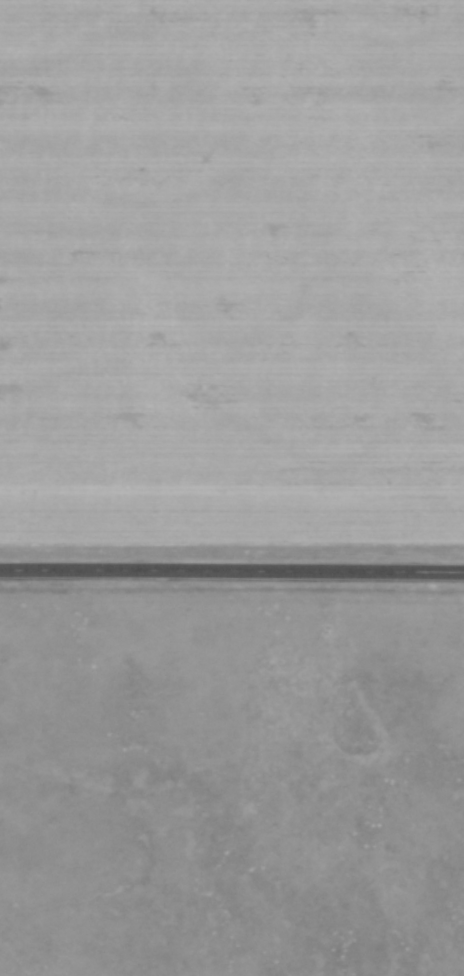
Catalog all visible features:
crop: (232, 276)
road: (232, 571)

